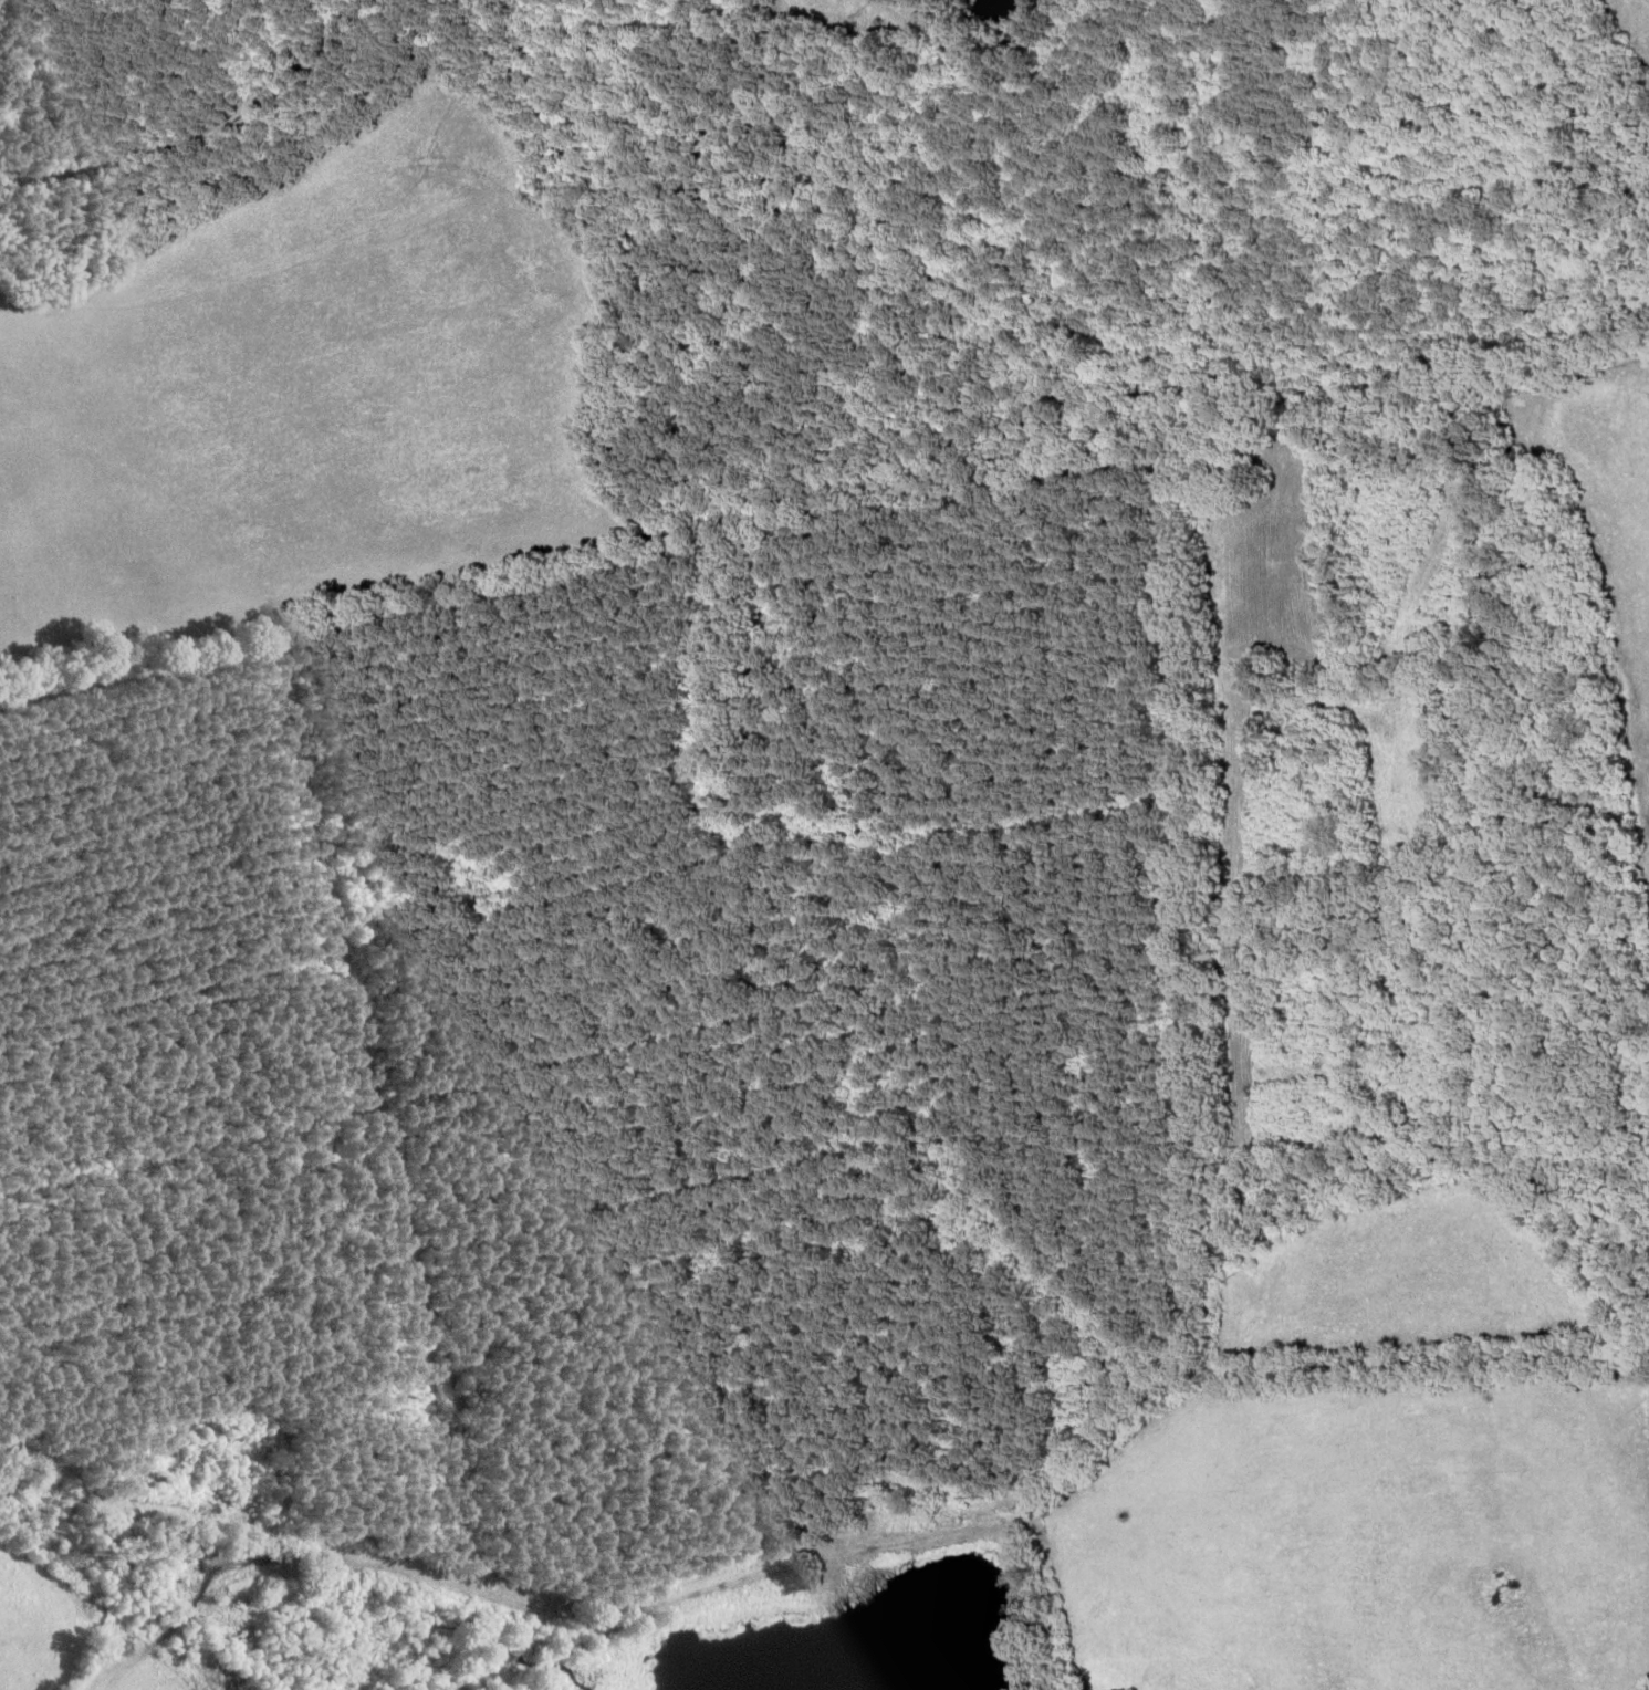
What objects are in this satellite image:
road: (951, 59)
road: (229, 154)
road: (856, 1545)

